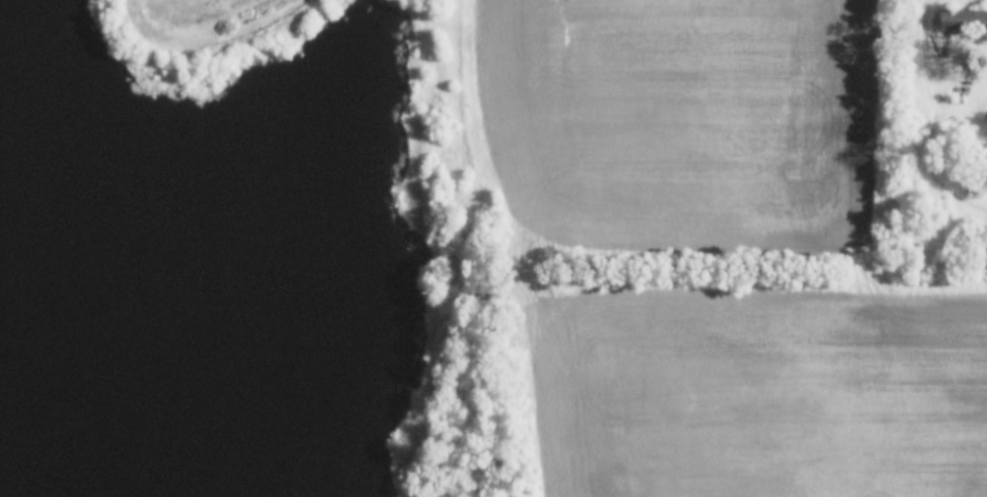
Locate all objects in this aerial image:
building: (963, 20)

